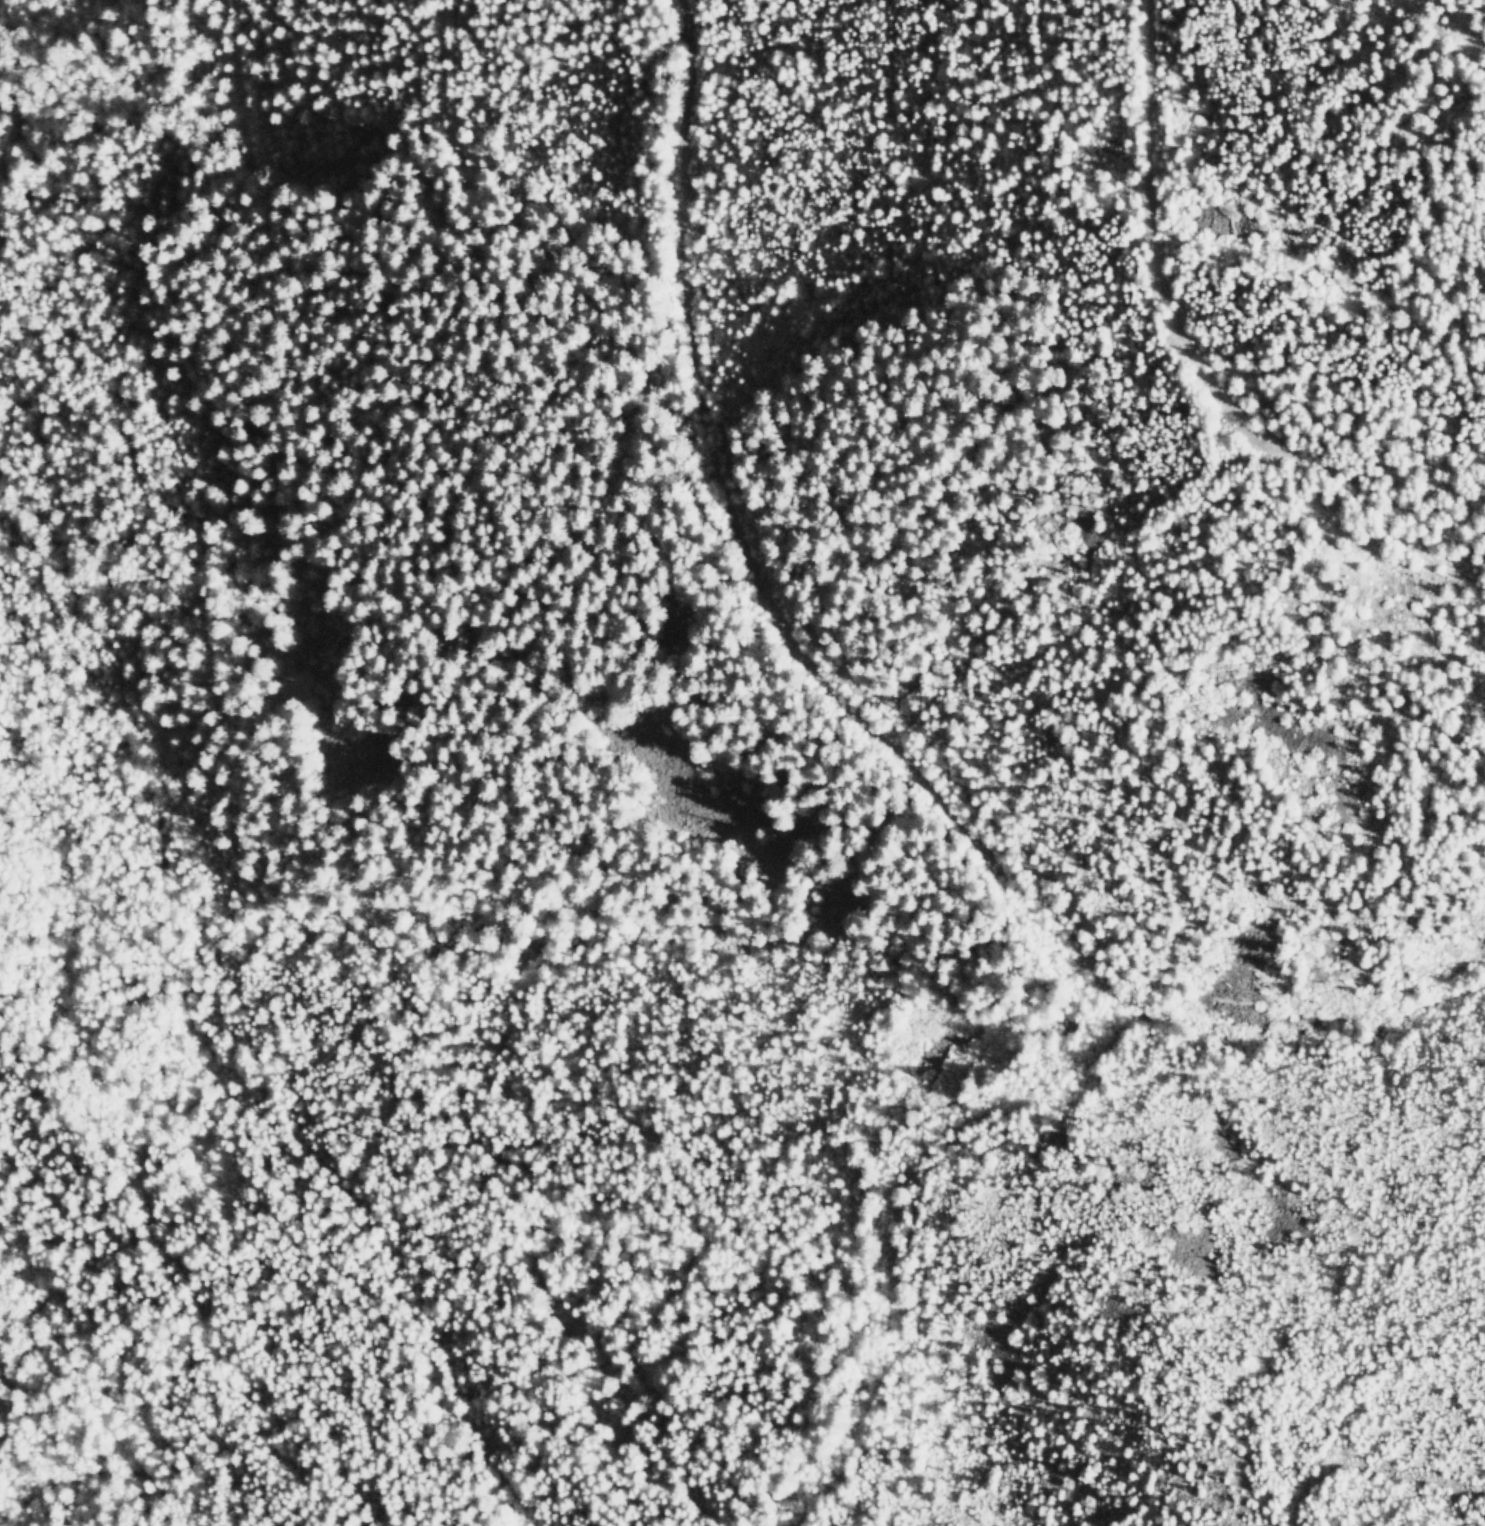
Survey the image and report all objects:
road: (1191, 313)
road: (1158, 638)
road: (1043, 846)

